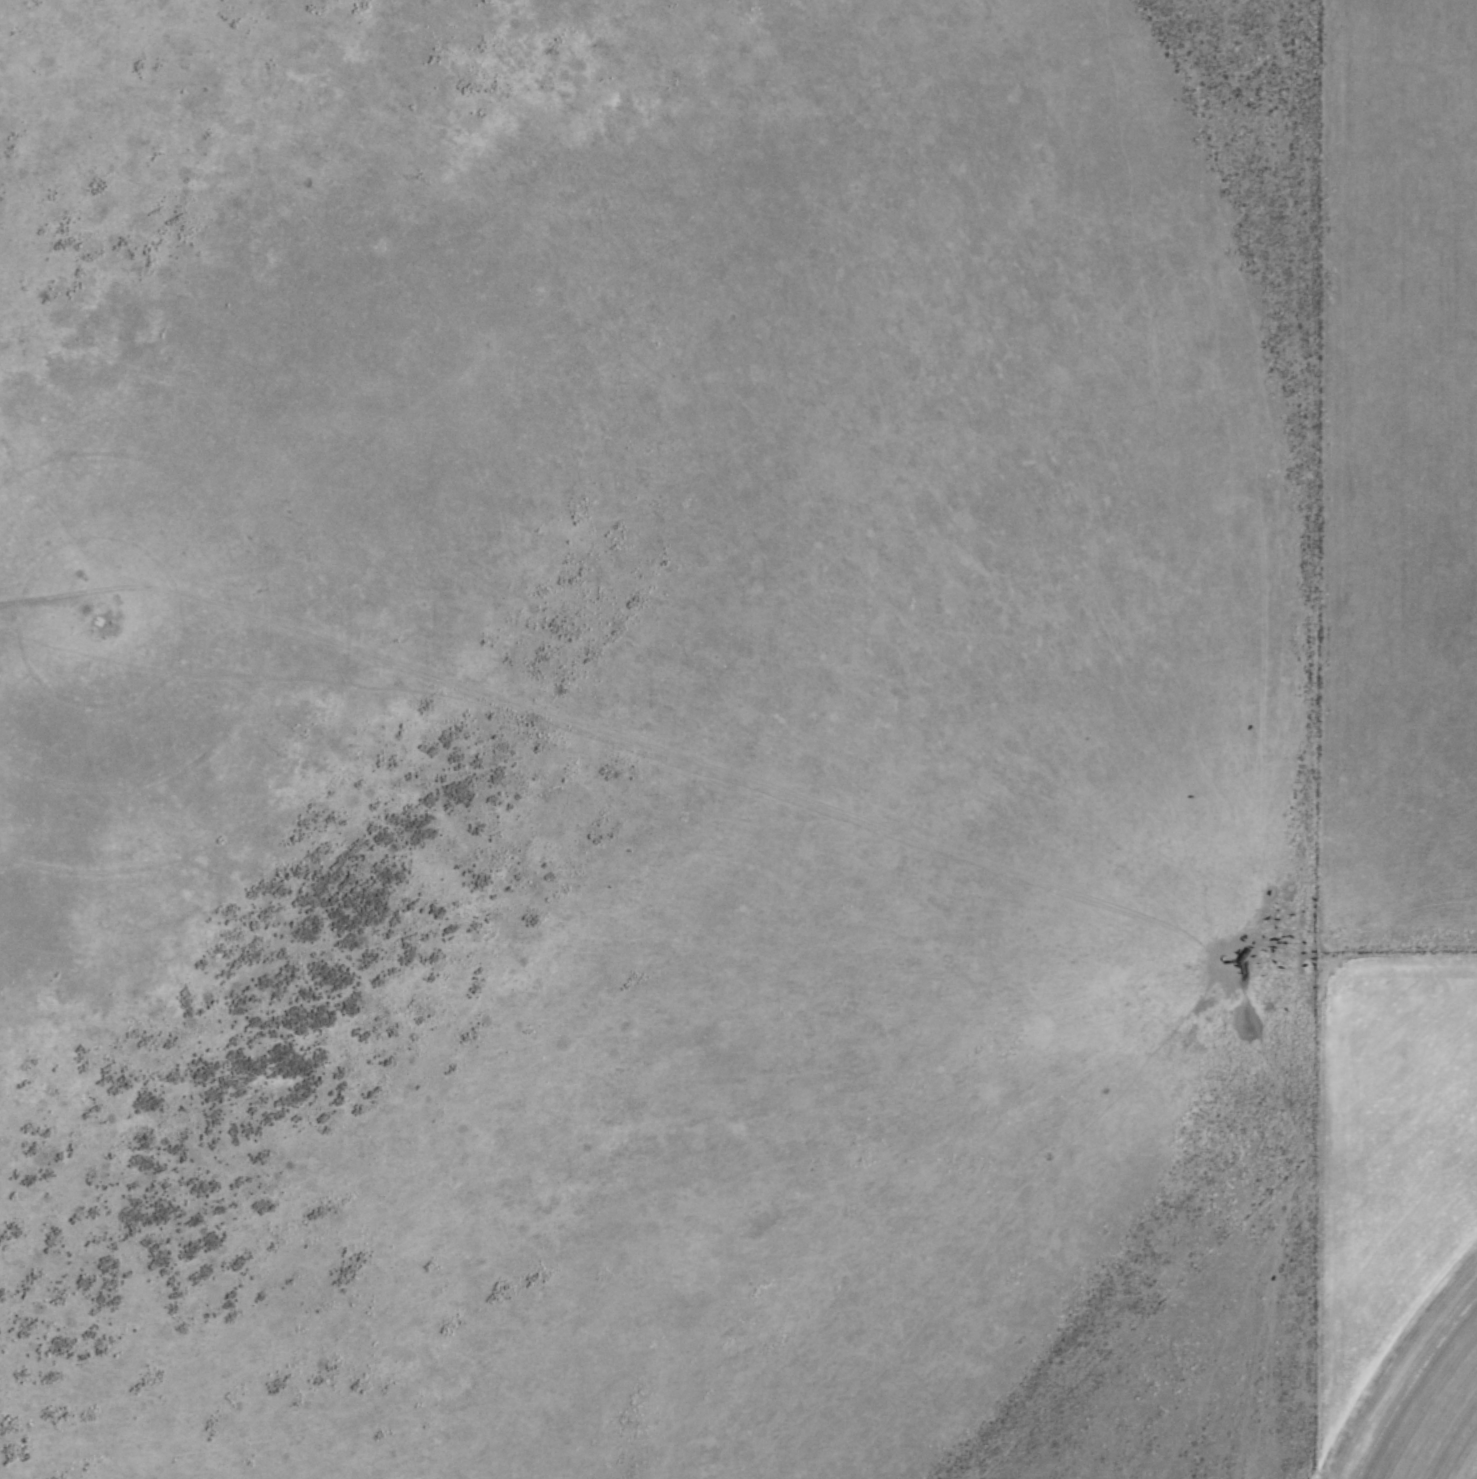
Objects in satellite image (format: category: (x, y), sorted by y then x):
road: (310, 259)
road: (754, 713)
crop: (709, 717)
road: (1300, 739)

